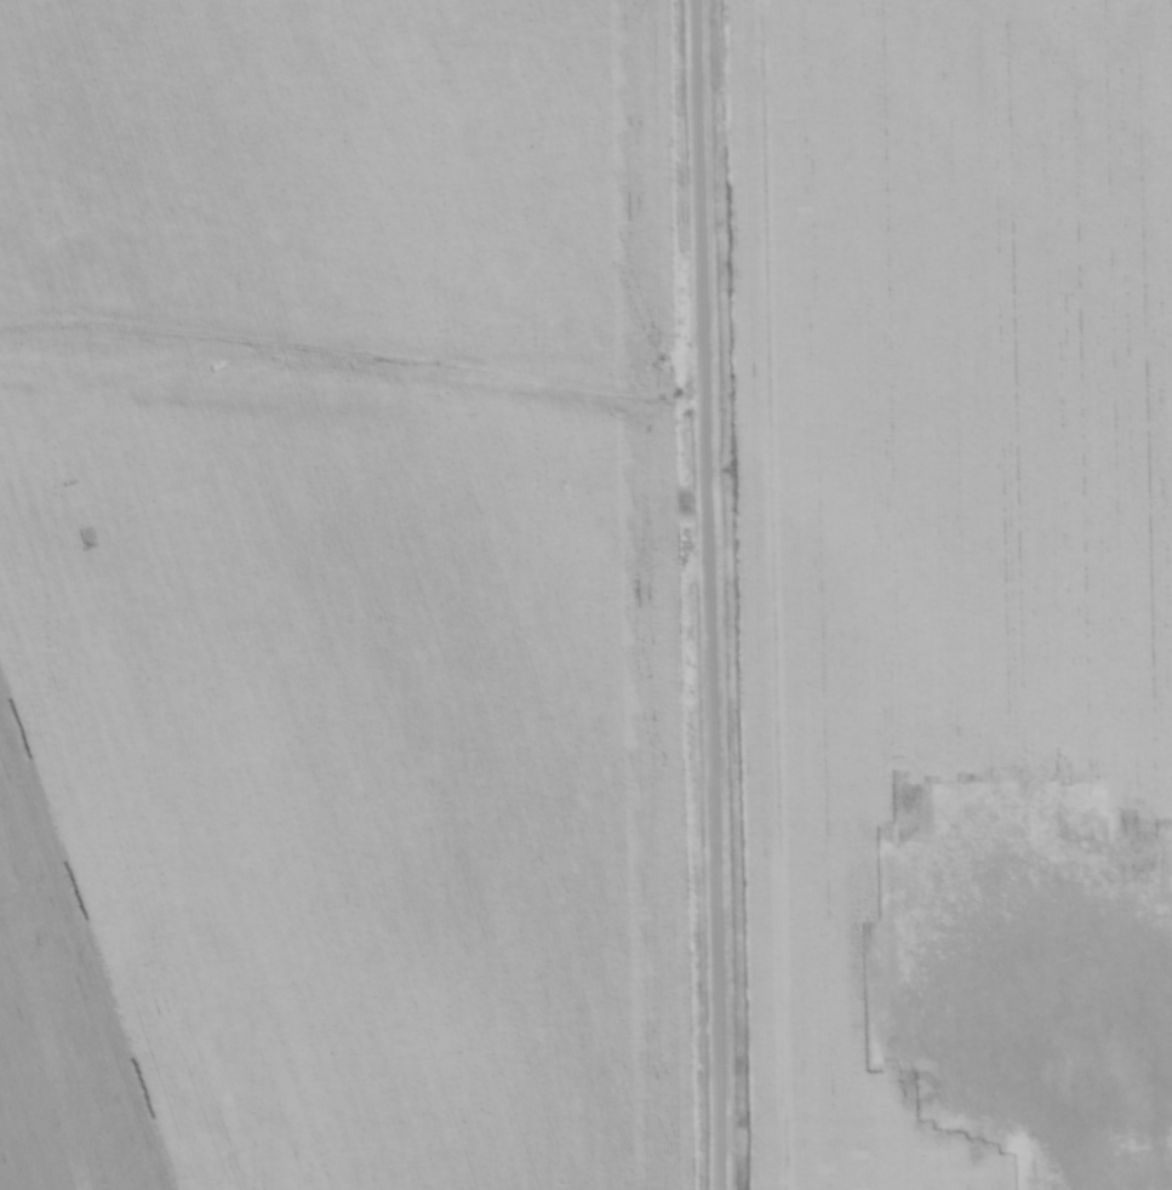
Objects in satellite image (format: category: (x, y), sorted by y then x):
road: (715, 594)

